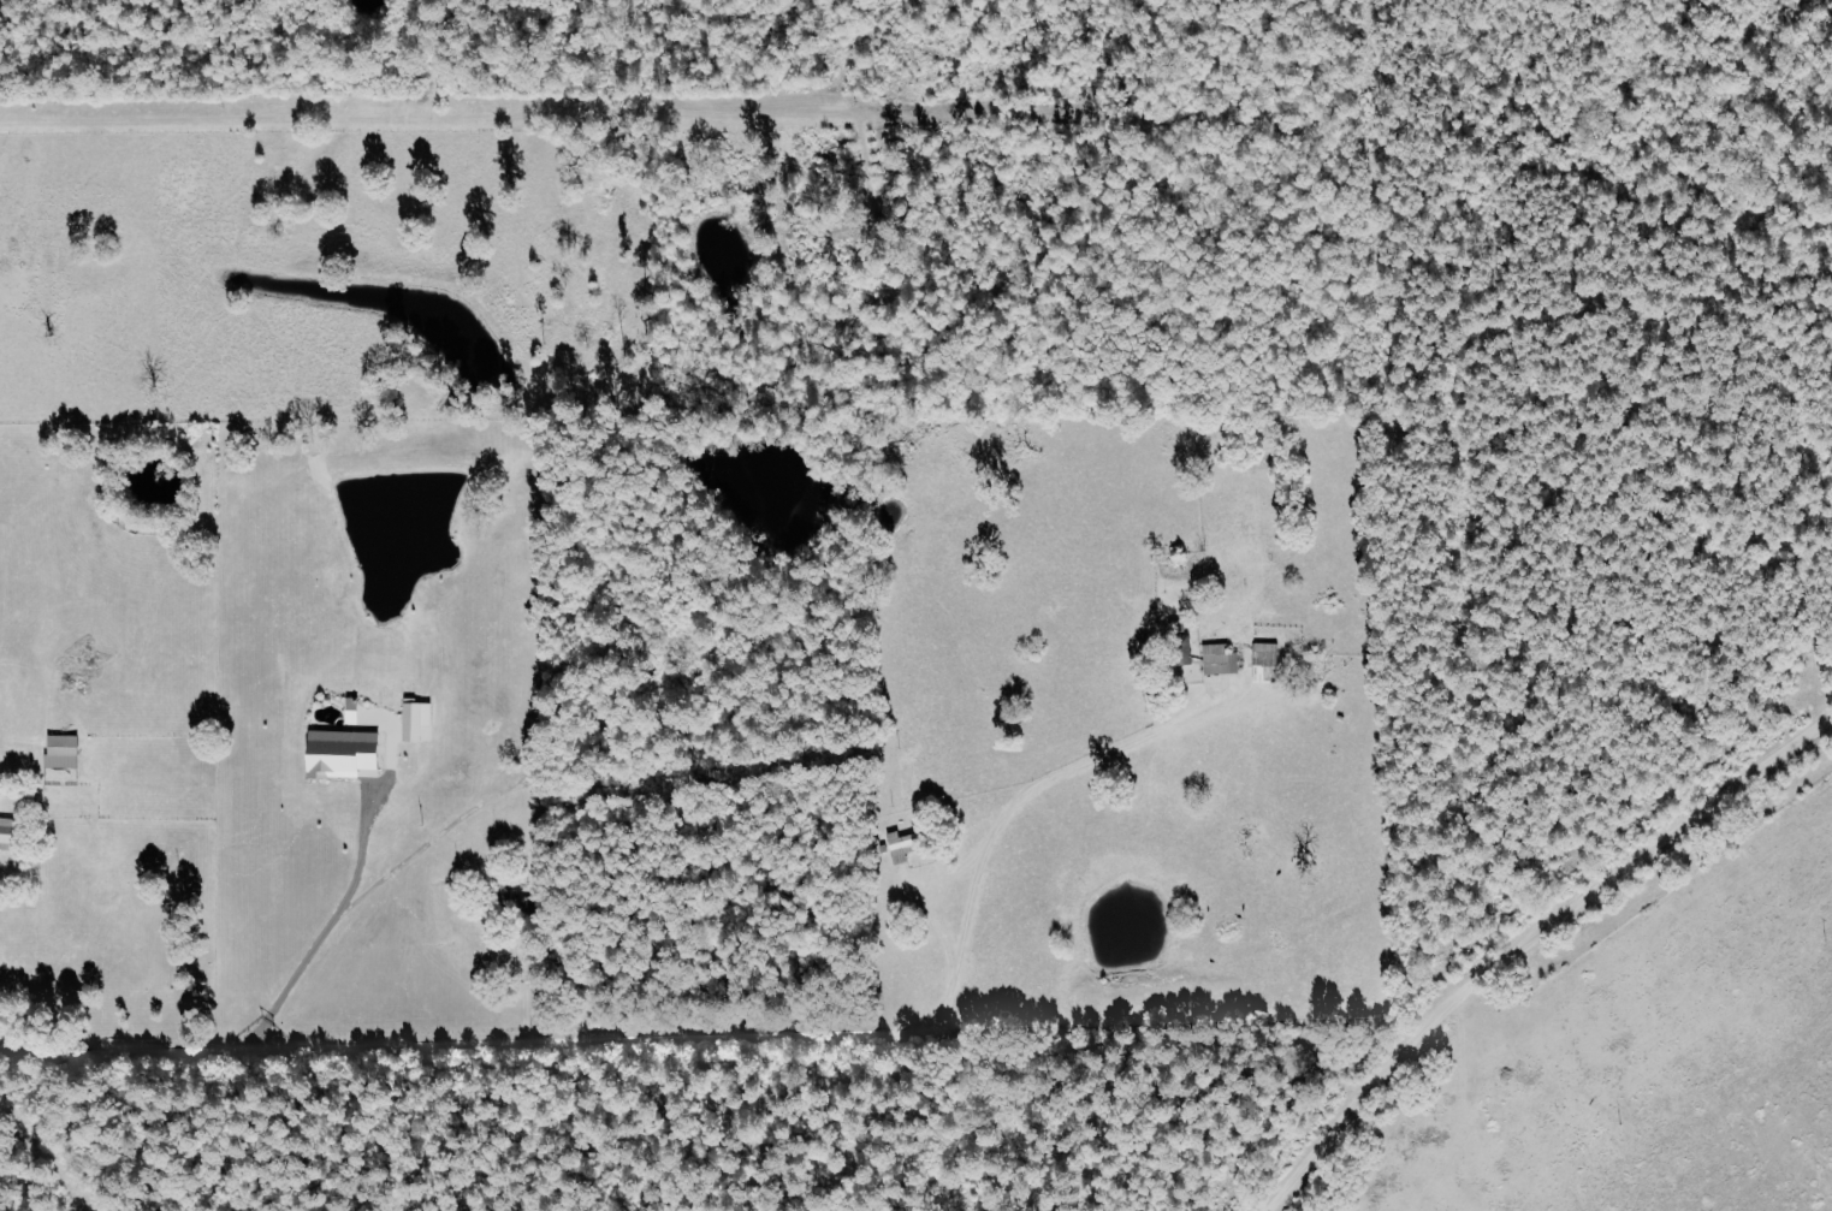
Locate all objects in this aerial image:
building: (1216, 659)
building: (1262, 663)
building: (421, 720)
building: (66, 750)
building: (348, 753)
building: (8, 831)
road: (321, 927)
road: (1524, 933)
road: (521, 981)
road: (425, 1043)

